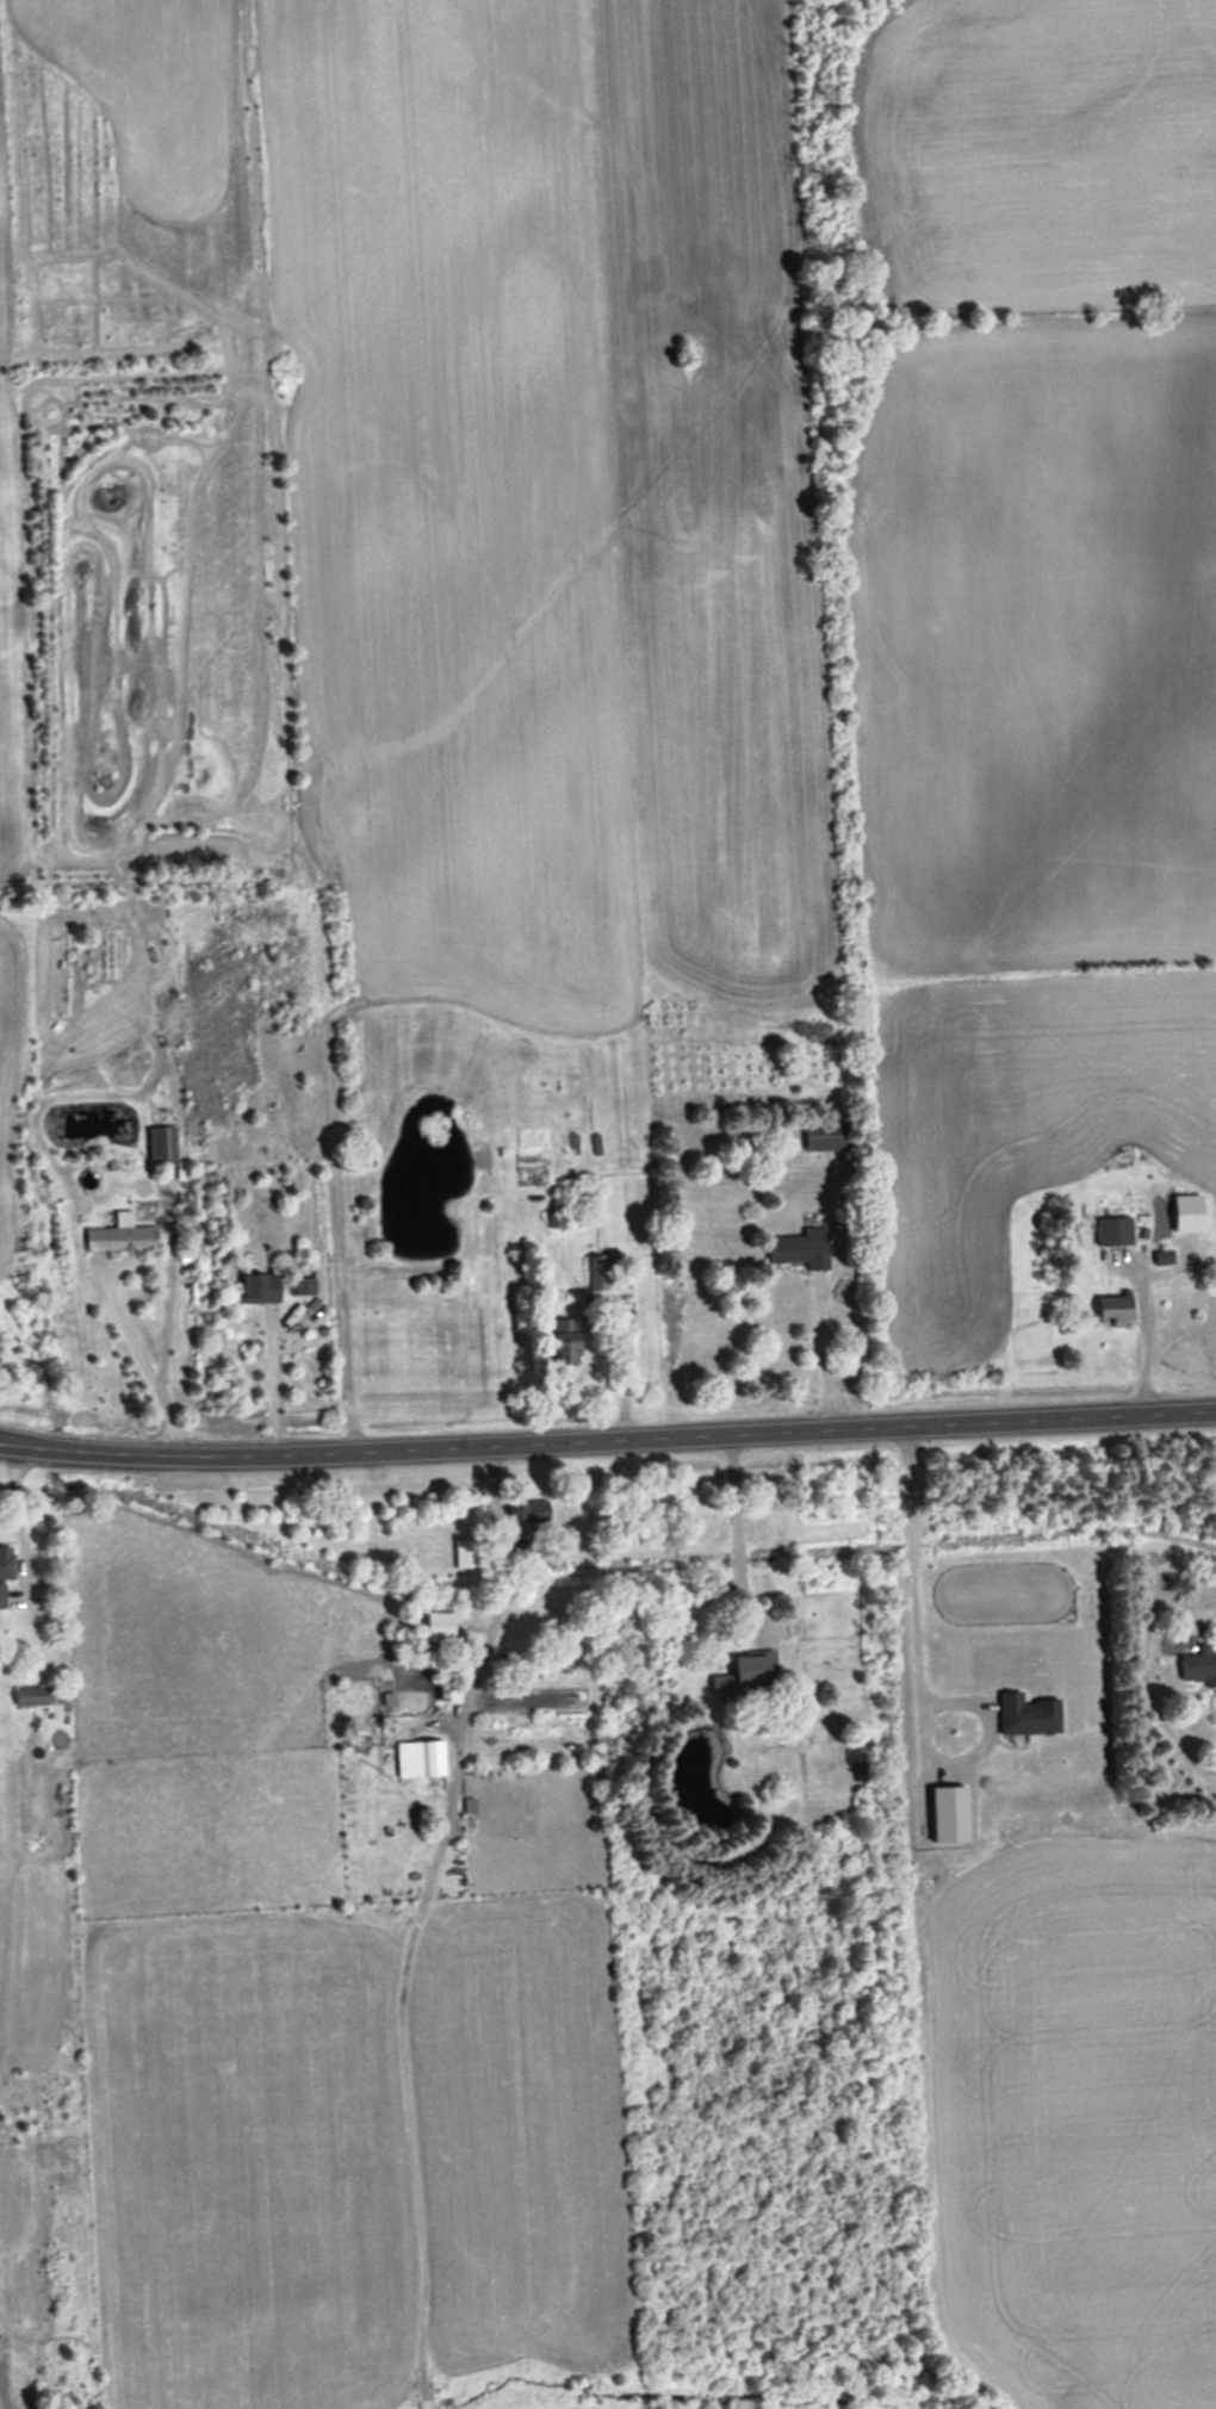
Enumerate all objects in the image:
building: (825, 1136)
building: (160, 1143)
building: (1112, 1230)
building: (120, 1236)
building: (800, 1248)
road: (162, 1272)
building: (601, 1272)
building: (303, 1286)
building: (259, 1287)
building: (1113, 1310)
building: (564, 1348)
road: (269, 1395)
road: (607, 1443)
road: (15, 1510)
building: (529, 1510)
road: (732, 1532)
building: (465, 1554)
building: (6, 1563)
road: (494, 1613)
building: (438, 1626)
building: (1198, 1666)
building: (753, 1668)
building: (447, 1695)
building: (31, 1696)
building: (1025, 1715)
building: (420, 1759)
river: (565, 2399)

